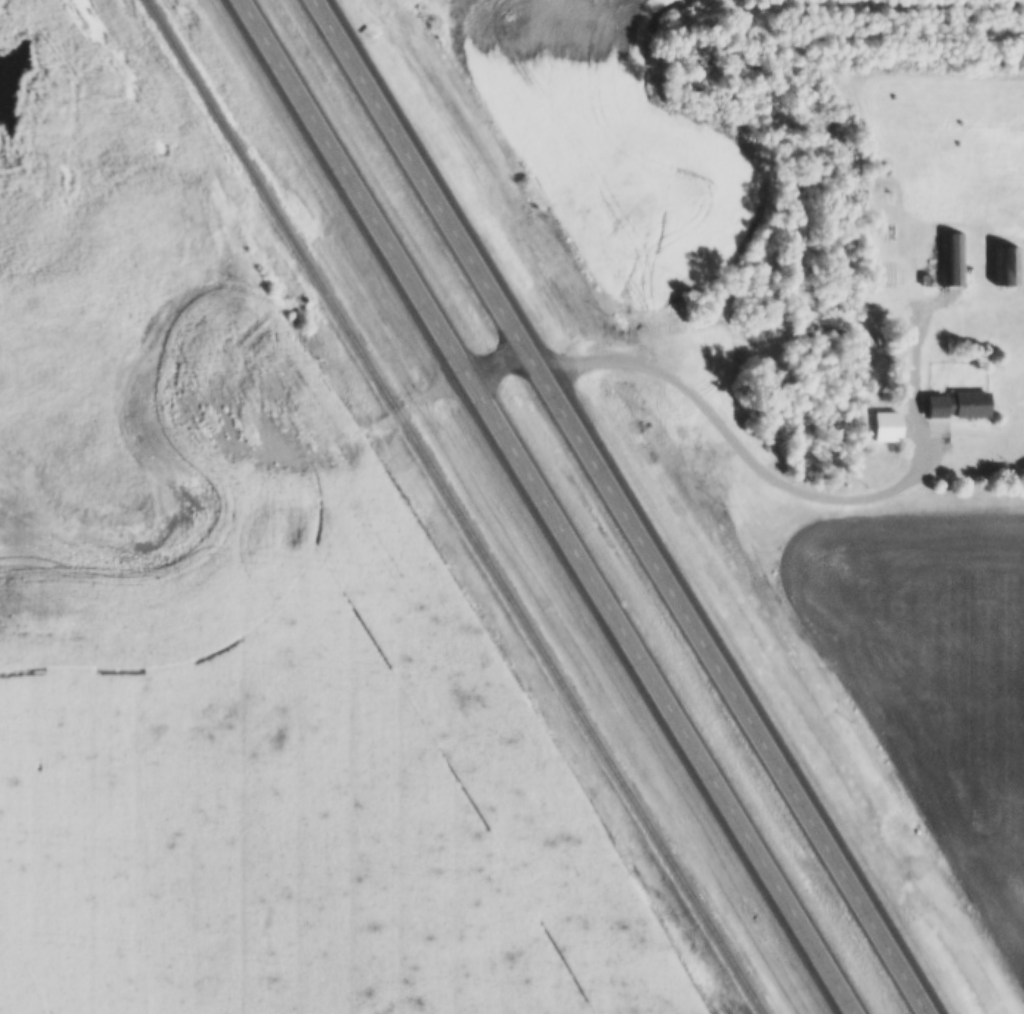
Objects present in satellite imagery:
building: (952, 258)
building: (1006, 265)
road: (501, 367)
road: (421, 400)
building: (957, 405)
road: (744, 453)
road: (622, 506)
railway: (454, 507)
road: (548, 507)

